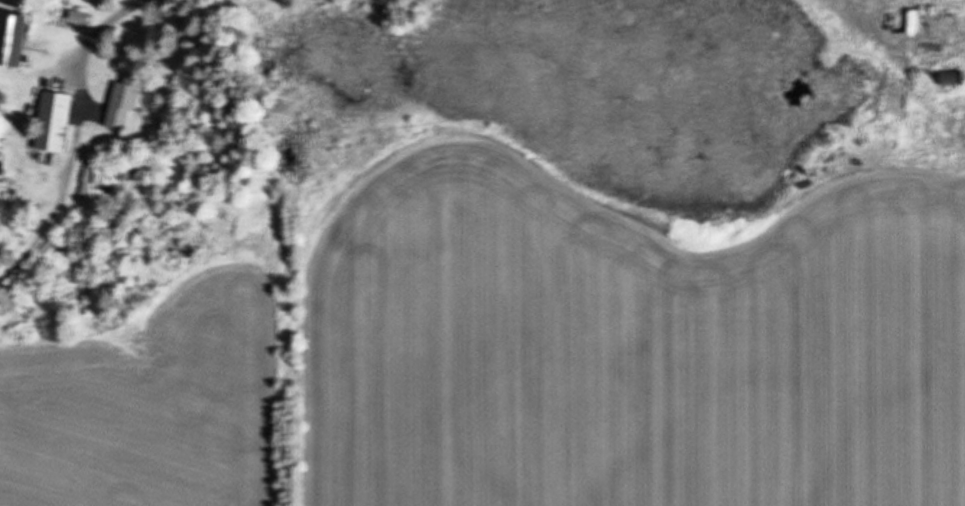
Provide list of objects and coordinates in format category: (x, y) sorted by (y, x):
building: (8, 39)
building: (949, 78)
building: (123, 103)
building: (50, 121)
building: (101, 175)

